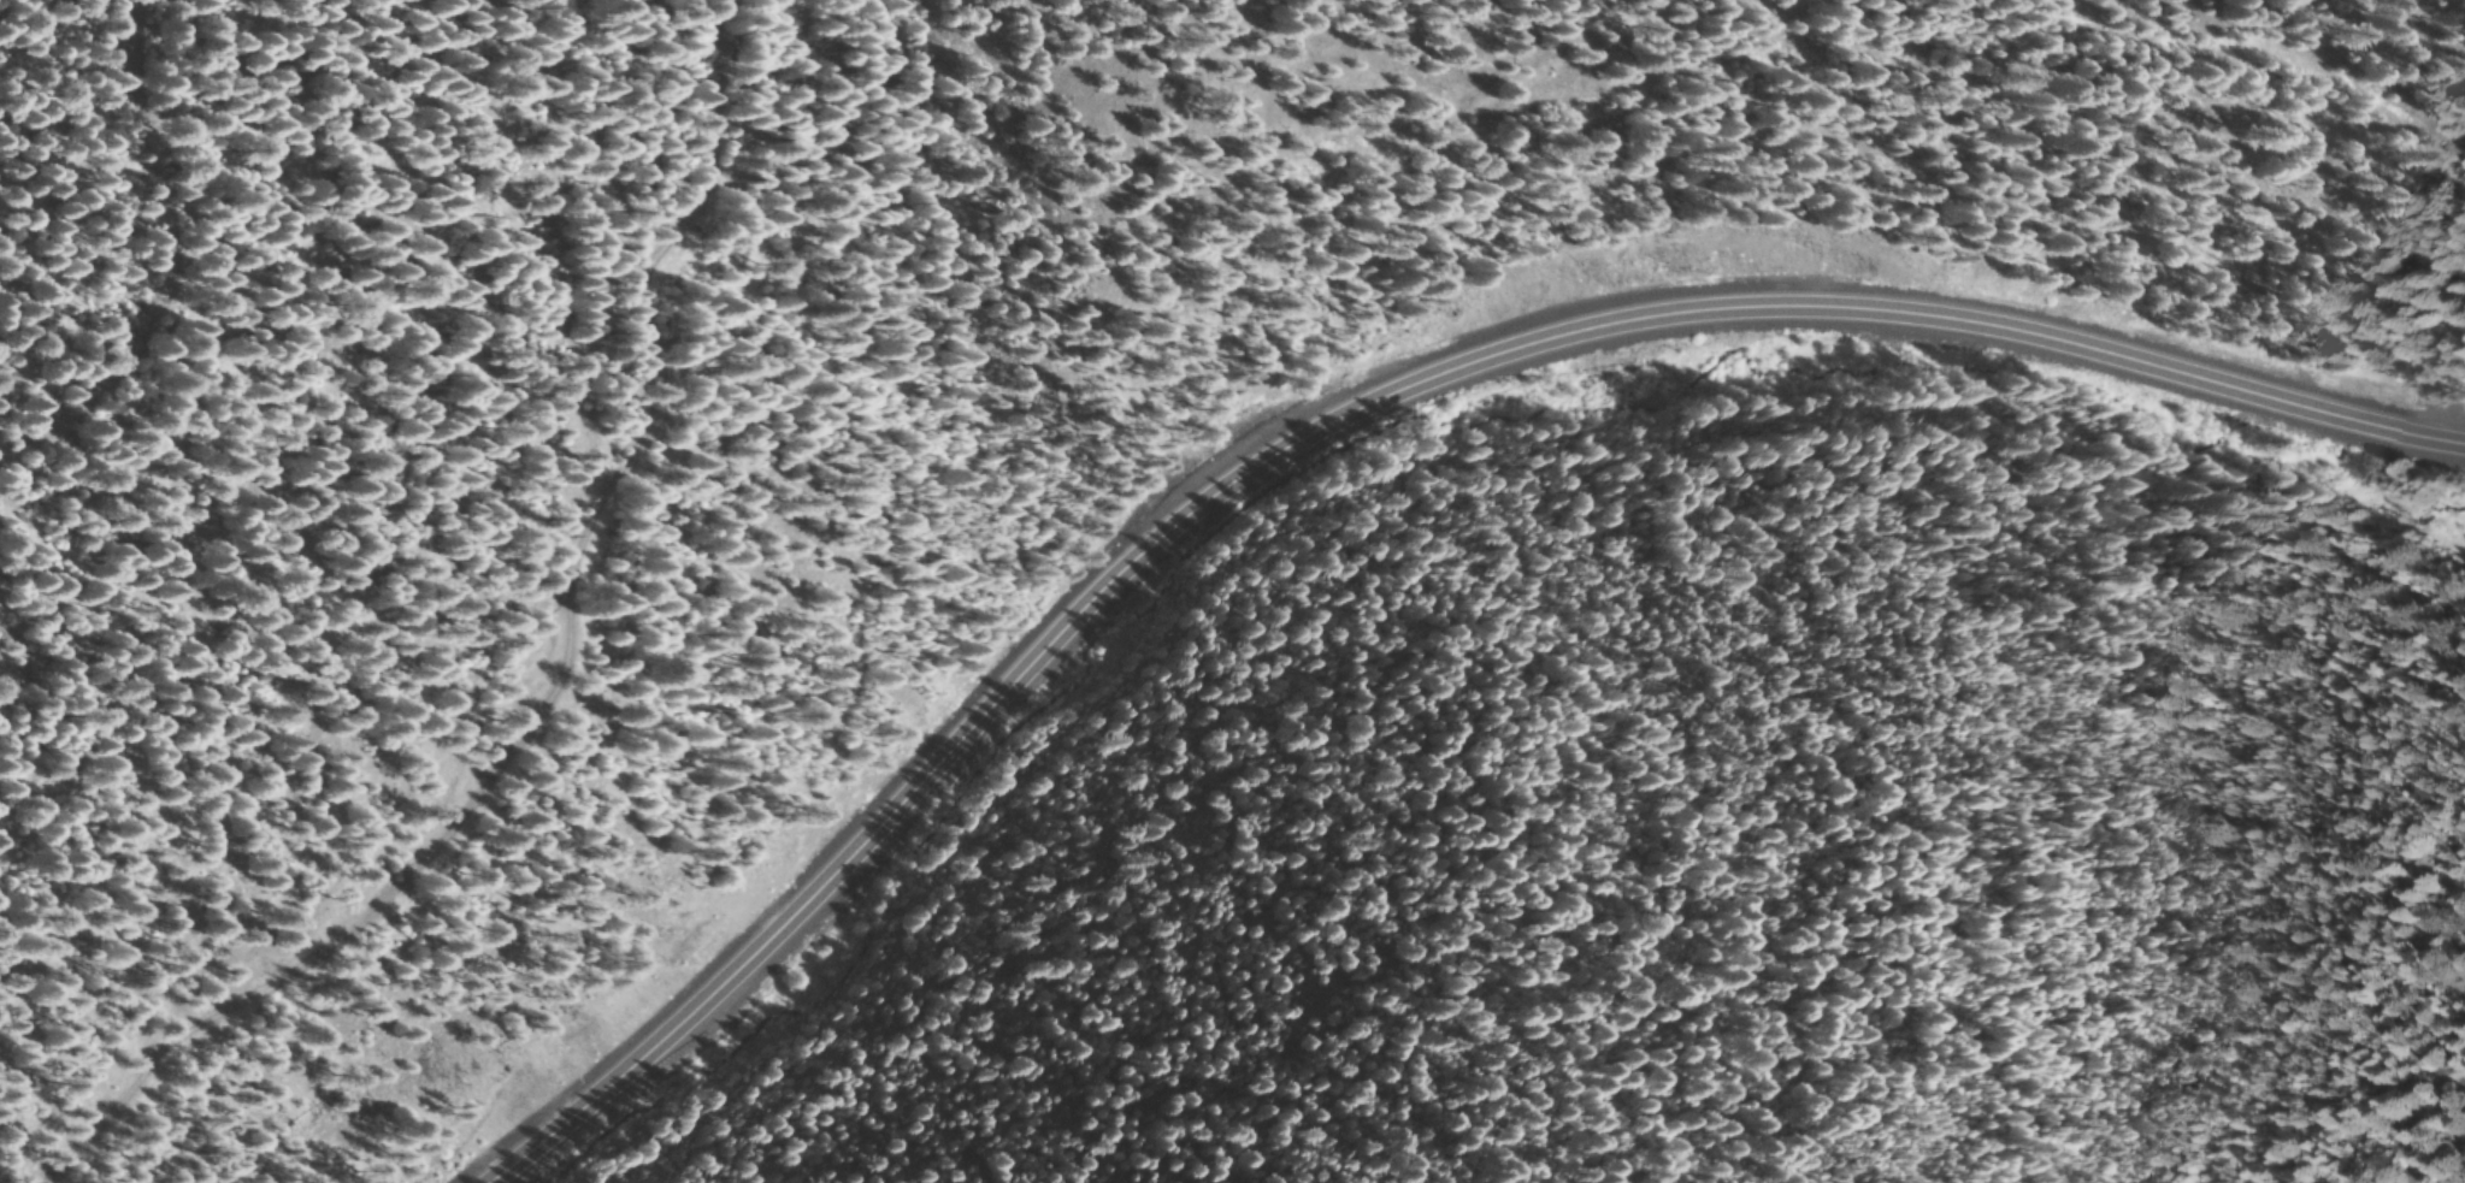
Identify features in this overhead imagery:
road: (1757, 48)
road: (117, 267)
road: (1357, 413)
road: (397, 627)

